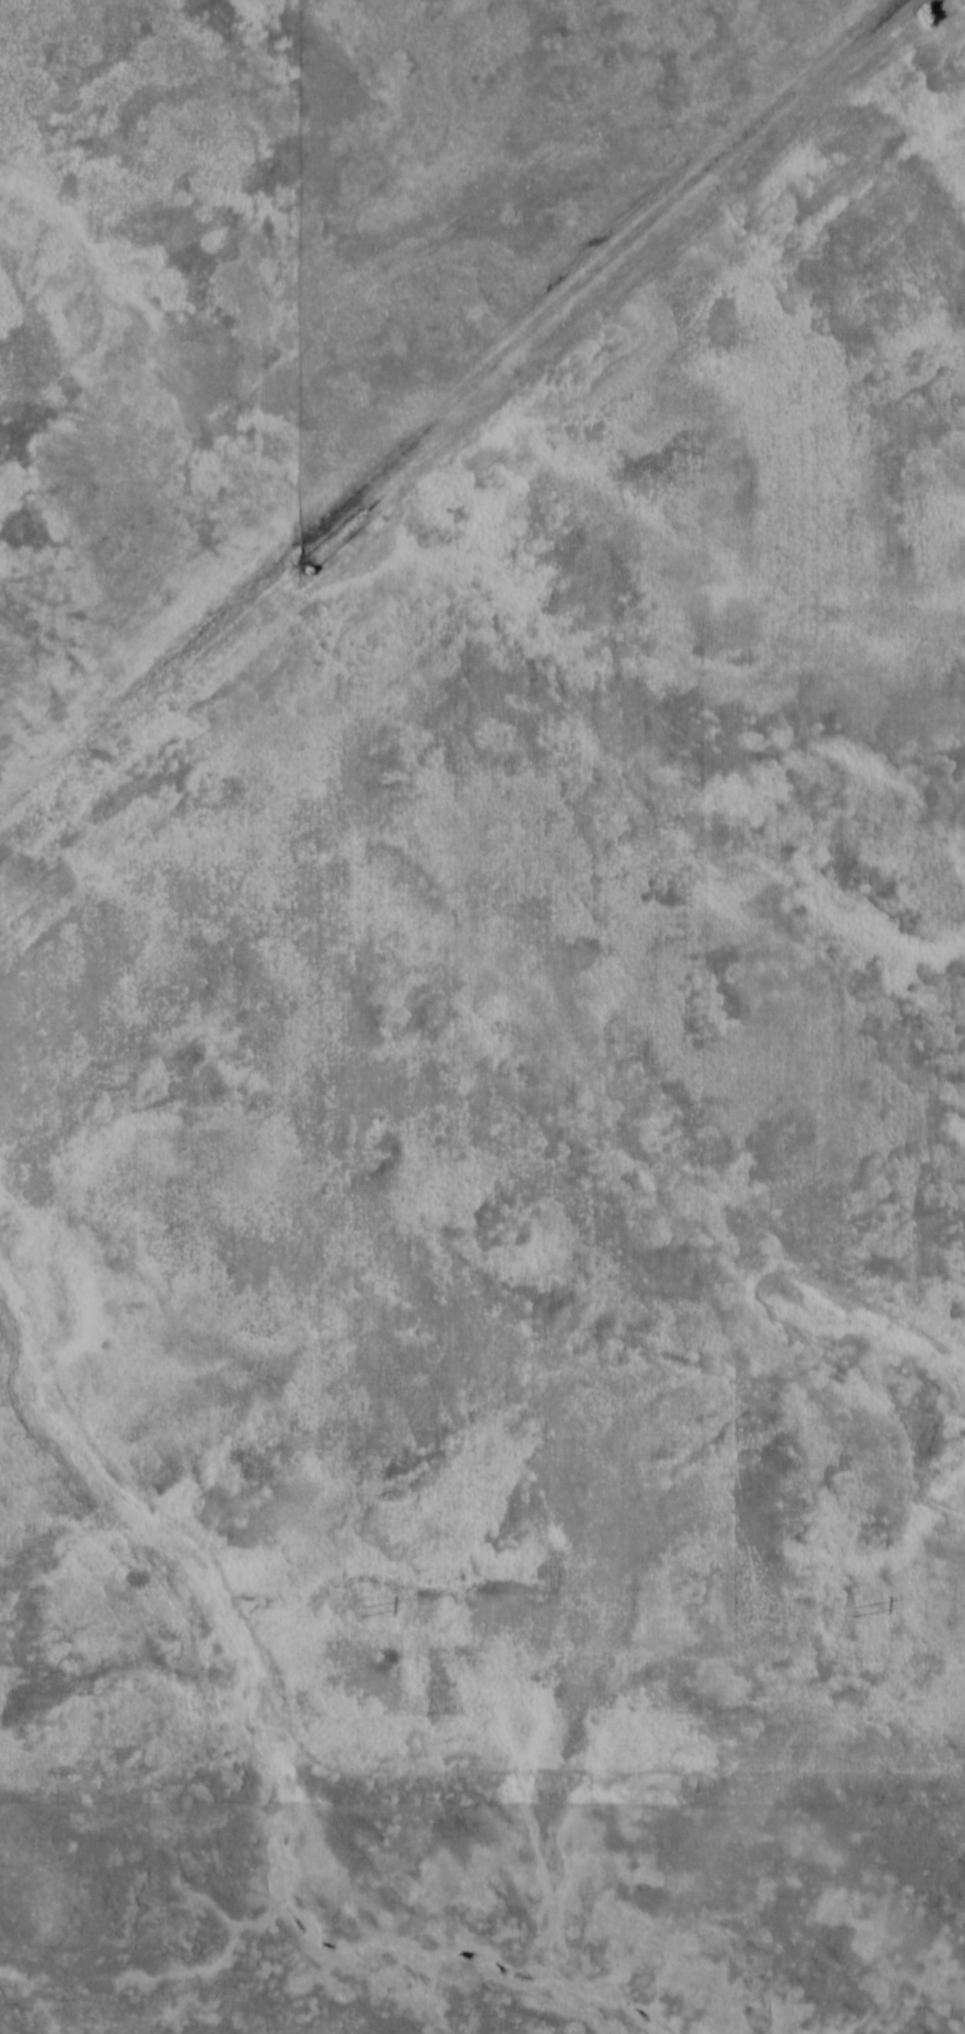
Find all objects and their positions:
power tower: (362, 1613)
power tower: (852, 1615)

